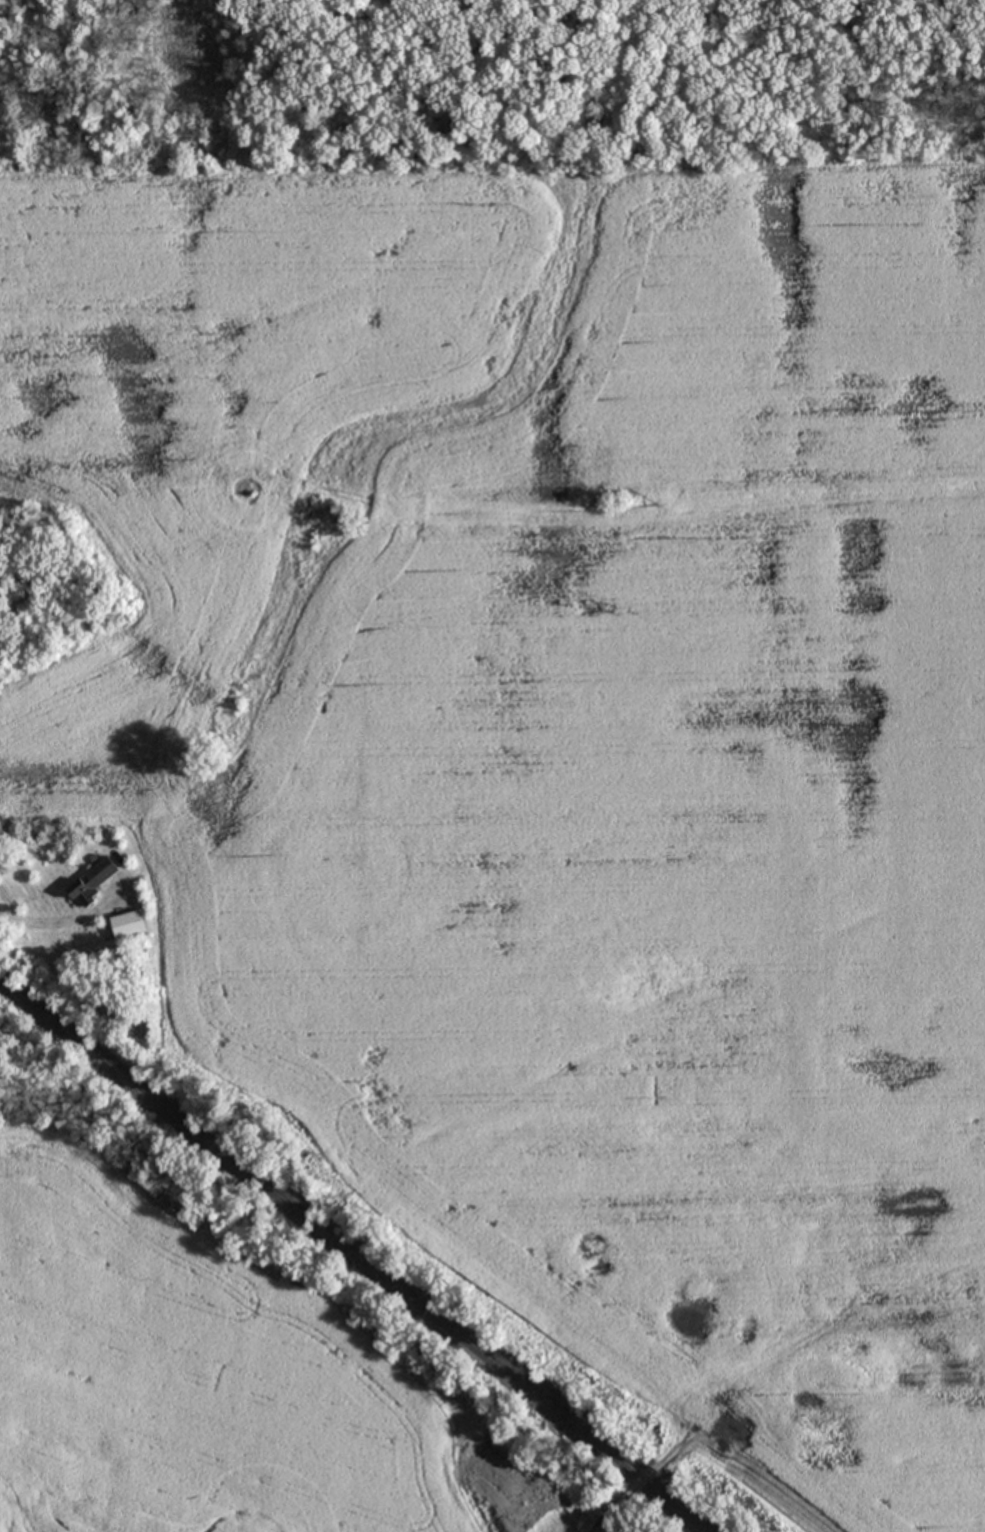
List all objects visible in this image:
building: (95, 881)
building: (133, 926)
railway: (358, 1256)
building: (832, 1379)

